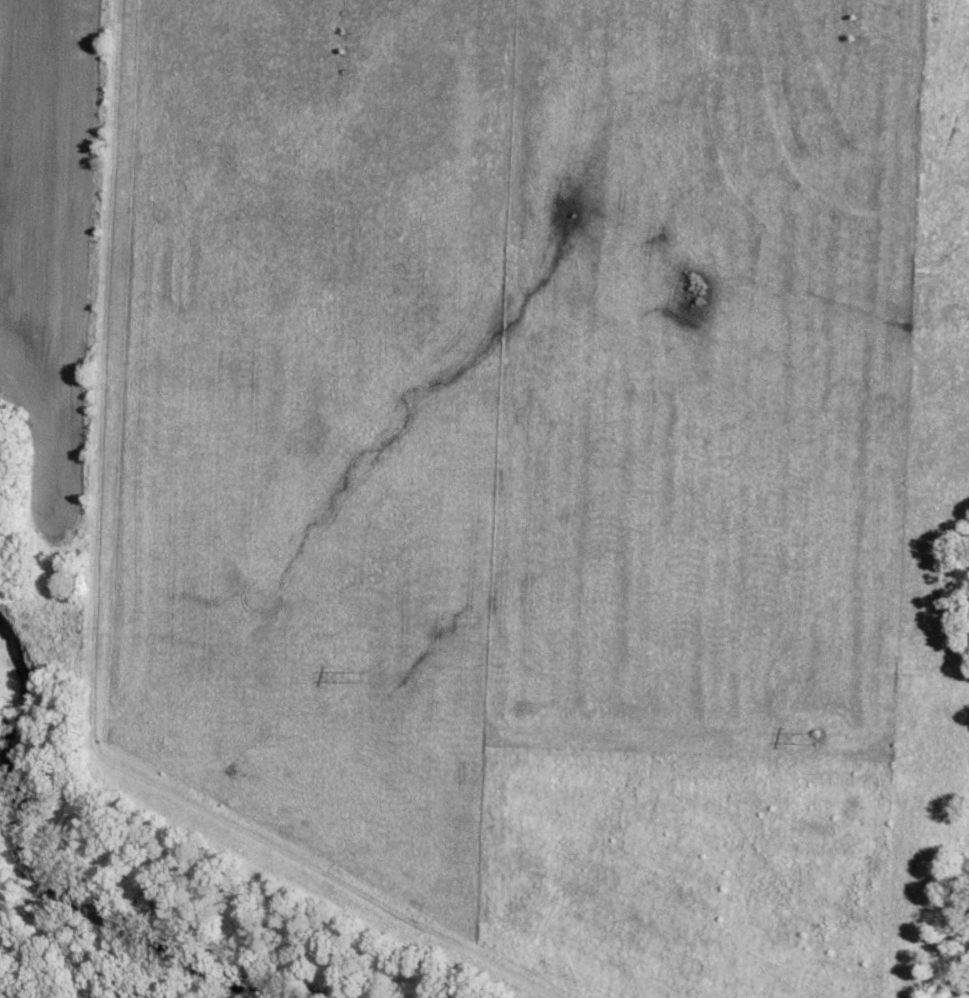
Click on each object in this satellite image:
power tower: (358, 673)
power tower: (817, 737)

